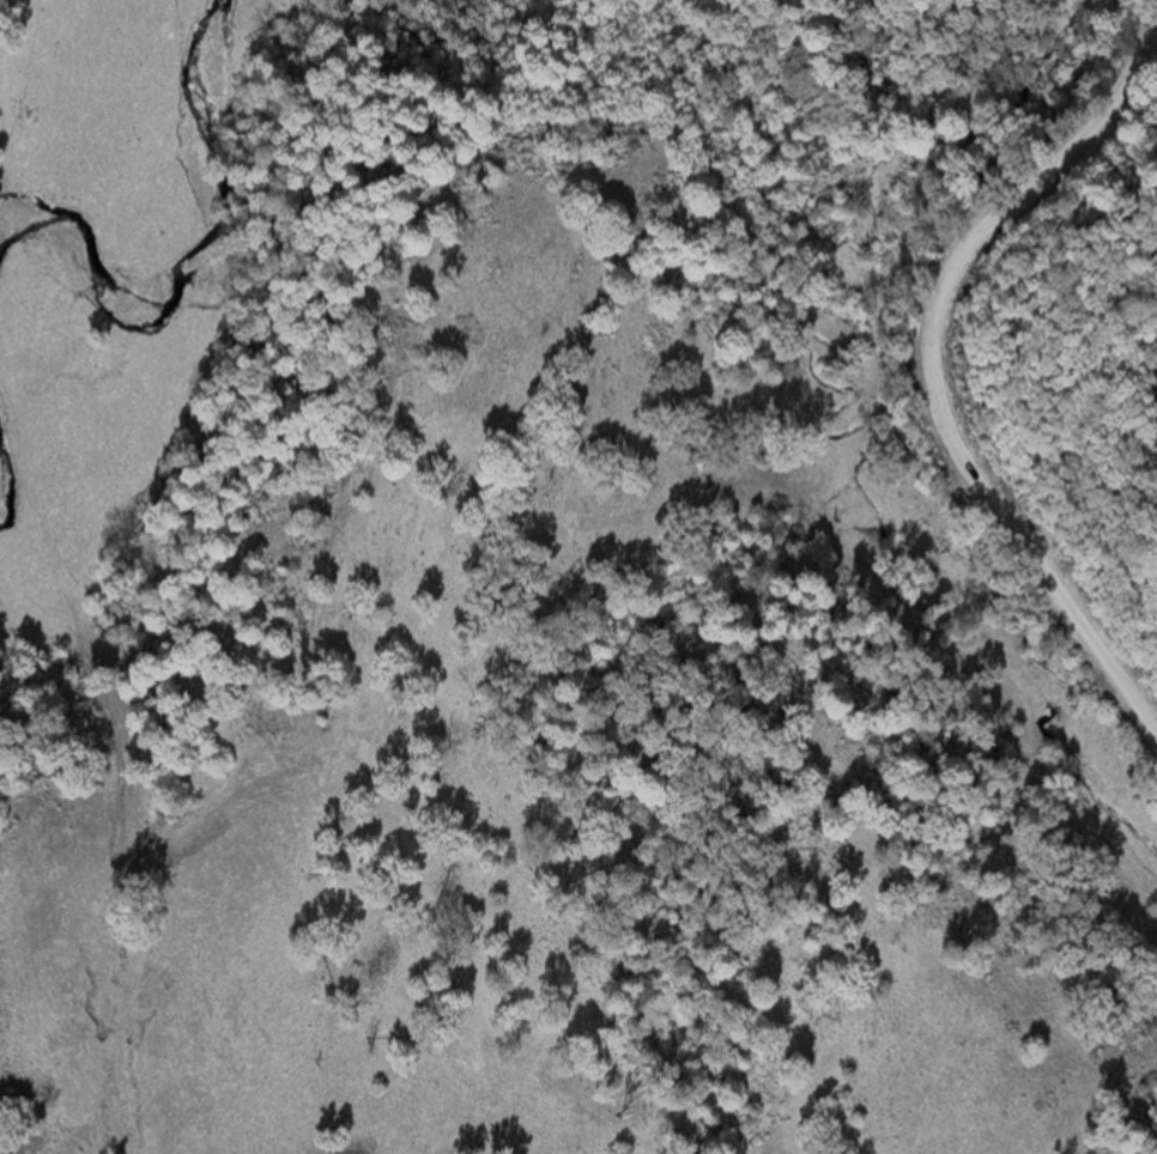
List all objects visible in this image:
road: (934, 378)

